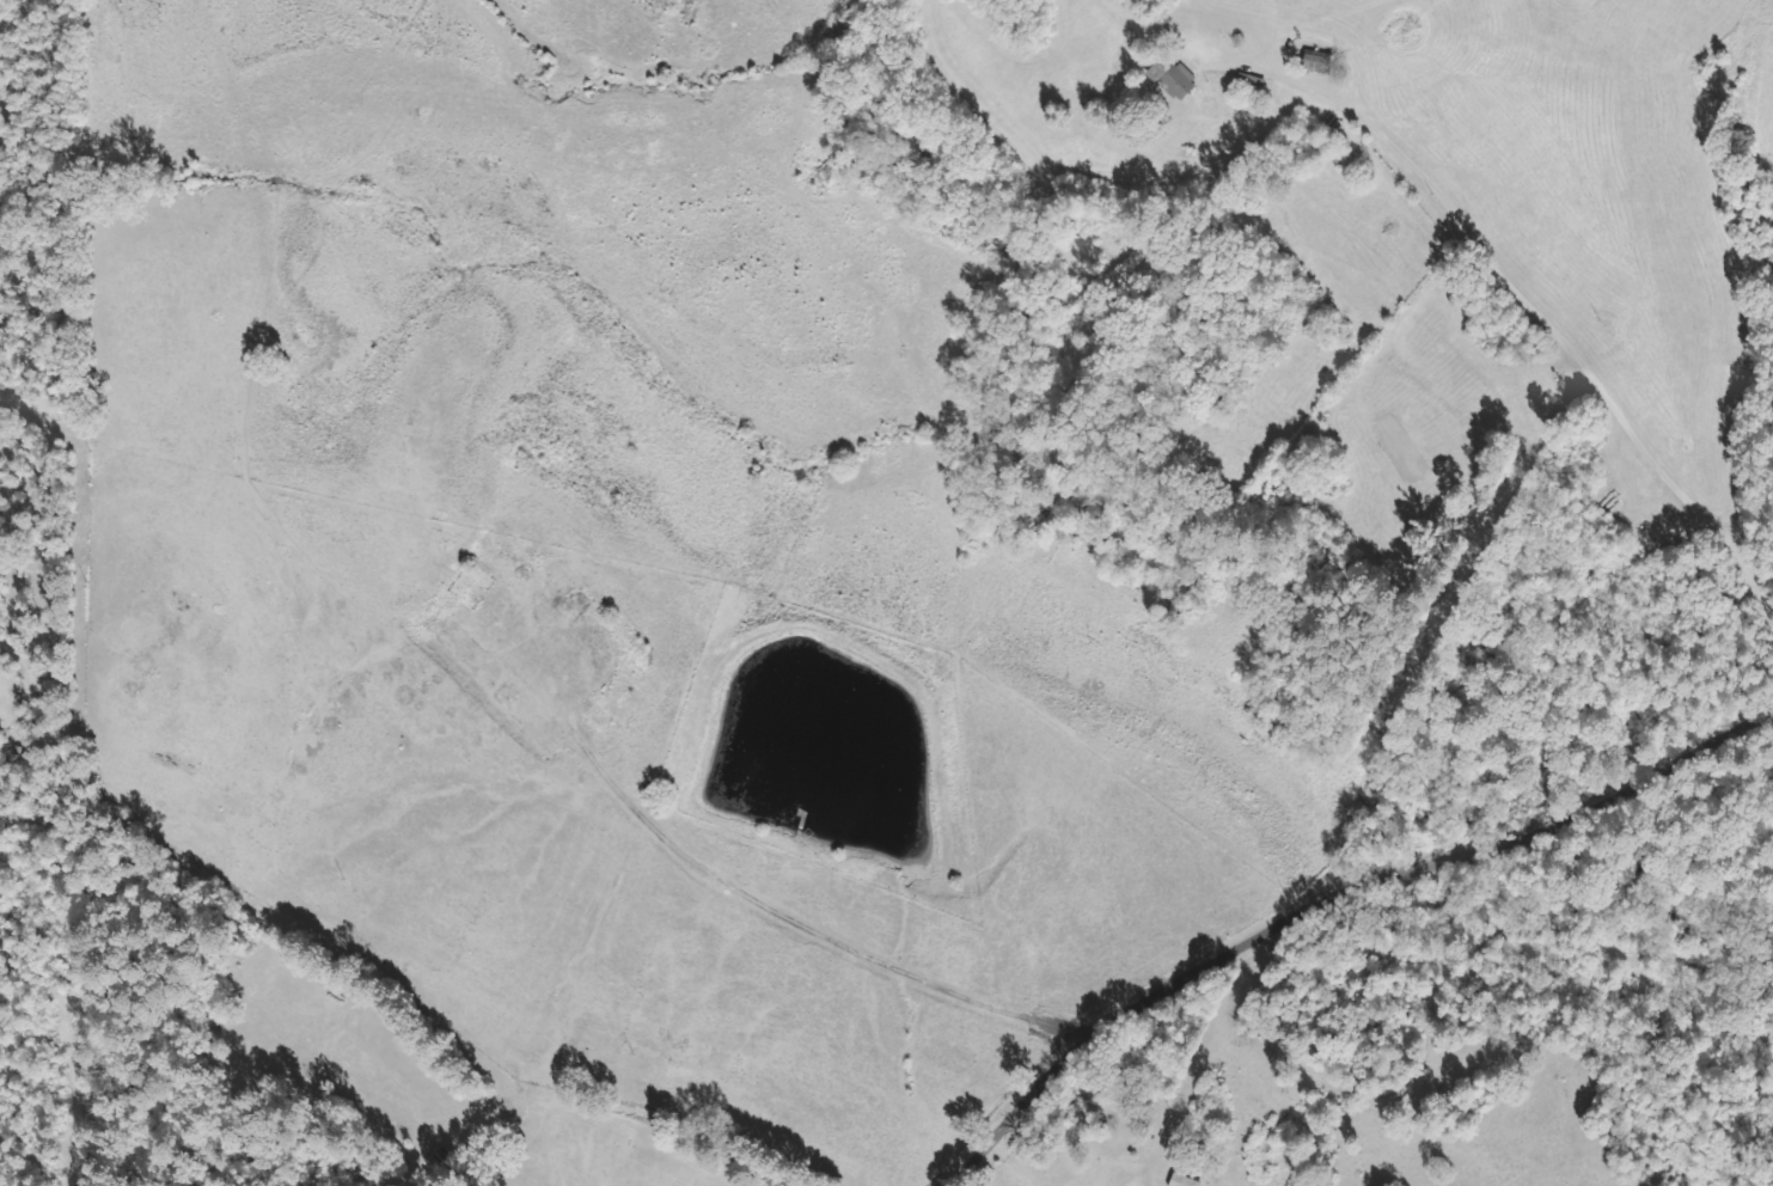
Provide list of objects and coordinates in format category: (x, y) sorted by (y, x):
building: (1314, 66)
building: (1176, 82)
road: (1407, 558)
road: (1312, 900)
road: (380, 1027)
road: (1131, 1133)
building: (1178, 1182)

